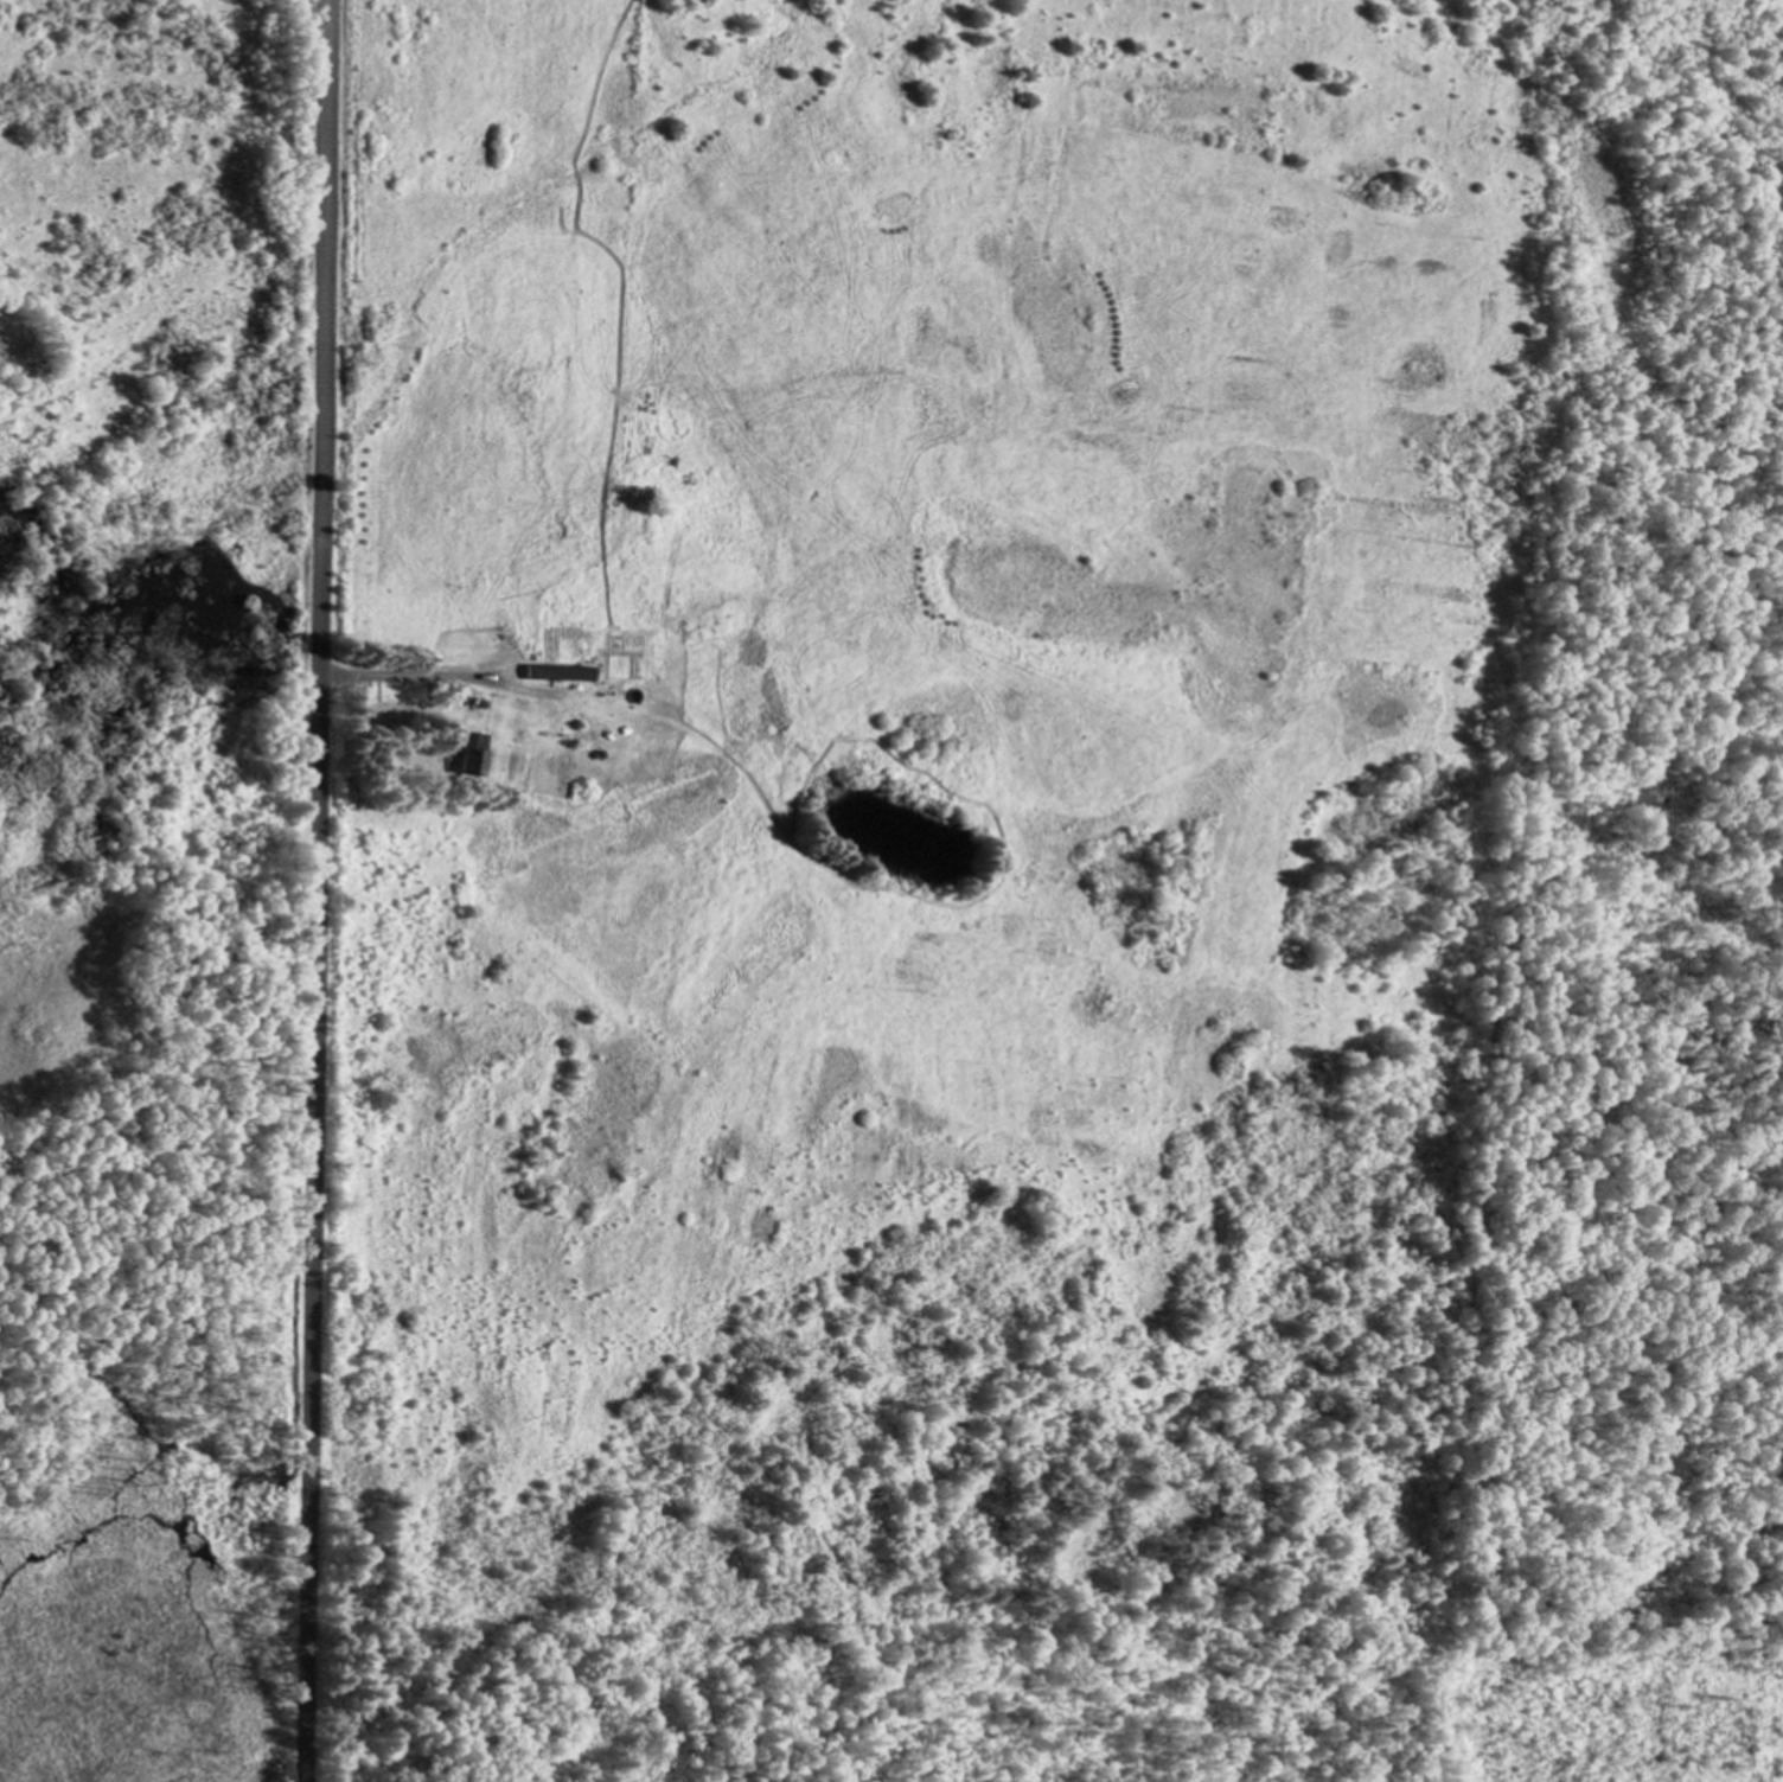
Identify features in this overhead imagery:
crop: (899, 702)
building: (472, 760)
road: (314, 890)

